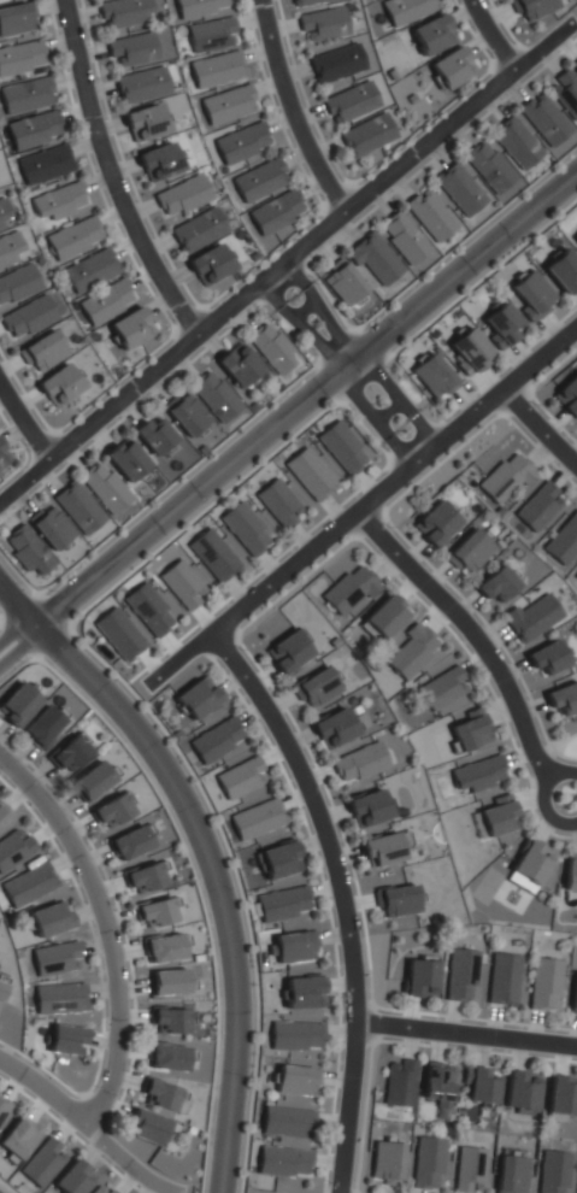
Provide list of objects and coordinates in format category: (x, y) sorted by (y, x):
building: (305, 1)
building: (199, 6)
building: (530, 7)
building: (406, 10)
building: (123, 12)
building: (16, 18)
building: (324, 22)
building: (211, 34)
building: (431, 35)
road: (495, 35)
building: (131, 47)
building: (20, 58)
building: (336, 63)
building: (575, 64)
building: (575, 67)
building: (216, 69)
building: (451, 69)
building: (140, 84)
building: (565, 93)
building: (25, 95)
building: (349, 101)
building: (226, 105)
road: (294, 108)
building: (145, 121)
building: (34, 129)
building: (532, 133)
building: (366, 135)
building: (241, 143)
building: (159, 163)
building: (45, 164)
building: (487, 168)
road: (108, 174)
building: (258, 180)
building: (459, 189)
building: (181, 196)
building: (58, 201)
building: (4, 212)
building: (276, 212)
building: (430, 216)
building: (196, 230)
building: (72, 237)
building: (404, 237)
building: (576, 240)
building: (10, 247)
road: (287, 258)
building: (375, 260)
building: (208, 265)
building: (90, 270)
building: (563, 271)
building: (17, 282)
building: (343, 284)
building: (532, 296)
building: (106, 301)
building: (27, 316)
building: (502, 327)
building: (130, 328)
building: (271, 347)
building: (41, 351)
building: (469, 351)
road: (351, 362)
building: (237, 365)
building: (431, 376)
building: (59, 383)
building: (213, 395)
building: (567, 395)
road: (287, 413)
building: (186, 416)
road: (23, 424)
road: (541, 425)
building: (153, 431)
building: (341, 448)
building: (4, 454)
building: (125, 460)
building: (308, 475)
building: (505, 478)
building: (102, 488)
building: (277, 504)
building: (77, 509)
road: (361, 509)
building: (537, 509)
building: (435, 522)
building: (51, 529)
building: (243, 530)
building: (565, 540)
building: (27, 551)
building: (469, 552)
building: (212, 556)
building: (576, 574)
building: (181, 586)
building: (495, 586)
building: (348, 589)
building: (151, 607)
building: (532, 617)
building: (383, 618)
road: (473, 631)
building: (118, 634)
building: (285, 650)
building: (411, 651)
building: (546, 657)
building: (314, 688)
building: (443, 688)
building: (563, 697)
building: (193, 700)
building: (17, 704)
building: (42, 724)
building: (334, 728)
building: (469, 730)
park: (559, 739)
building: (216, 740)
road: (548, 746)
building: (69, 753)
road: (561, 754)
building: (358, 763)
building: (478, 774)
building: (240, 777)
building: (92, 780)
road: (542, 797)
building: (367, 809)
building: (111, 810)
building: (2, 812)
building: (495, 817)
building: (255, 818)
building: (130, 841)
building: (13, 847)
building: (383, 850)
road: (208, 854)
building: (277, 859)
building: (531, 862)
building: (571, 875)
building: (143, 877)
building: (27, 885)
road: (343, 897)
building: (396, 900)
building: (282, 904)
building: (157, 911)
building: (48, 918)
road: (102, 929)
building: (165, 946)
building: (293, 947)
building: (54, 958)
building: (460, 975)
building: (419, 977)
building: (502, 979)
building: (169, 982)
building: (544, 983)
building: (1, 985)
building: (301, 993)
building: (573, 994)
building: (59, 998)
building: (170, 1021)
road: (466, 1033)
building: (295, 1035)
building: (64, 1038)
building: (166, 1057)
building: (295, 1080)
building: (399, 1082)
building: (436, 1085)
building: (481, 1087)
building: (522, 1092)
building: (159, 1095)
building: (561, 1098)
building: (4, 1107)
building: (287, 1122)
building: (146, 1127)
road: (87, 1128)
building: (18, 1138)
building: (385, 1160)
building: (283, 1162)
building: (428, 1162)
building: (42, 1164)
building: (469, 1169)
building: (553, 1171)
building: (510, 1174)
building: (70, 1180)
building: (100, 1189)

